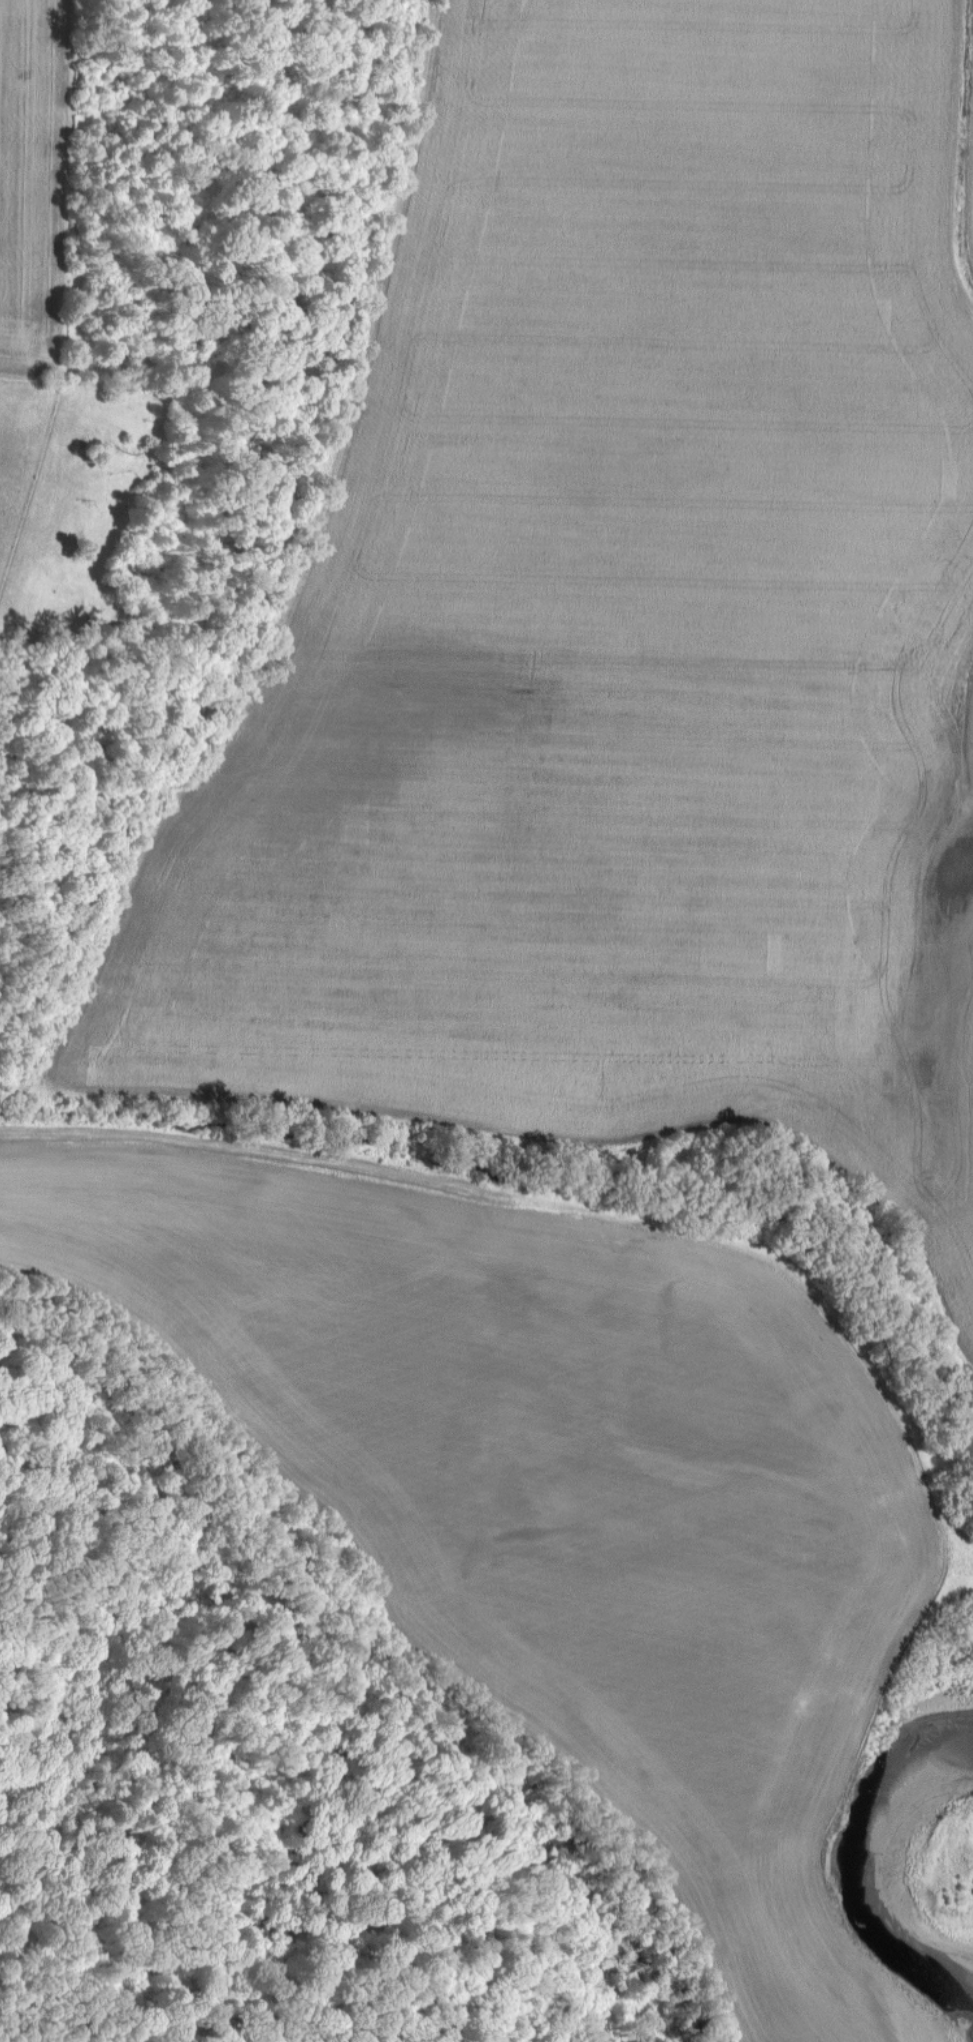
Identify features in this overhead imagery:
road: (563, 1217)
river: (967, 1739)

